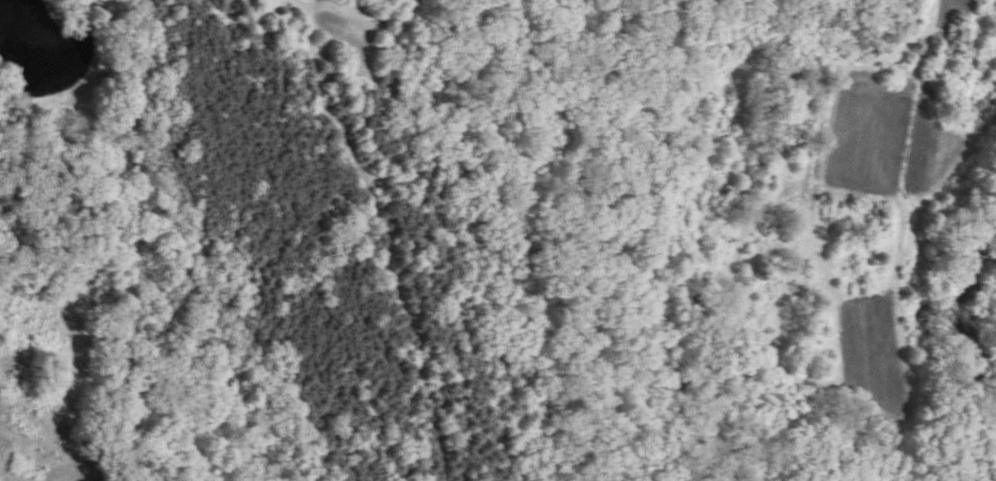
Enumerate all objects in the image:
river: (946, 175)

